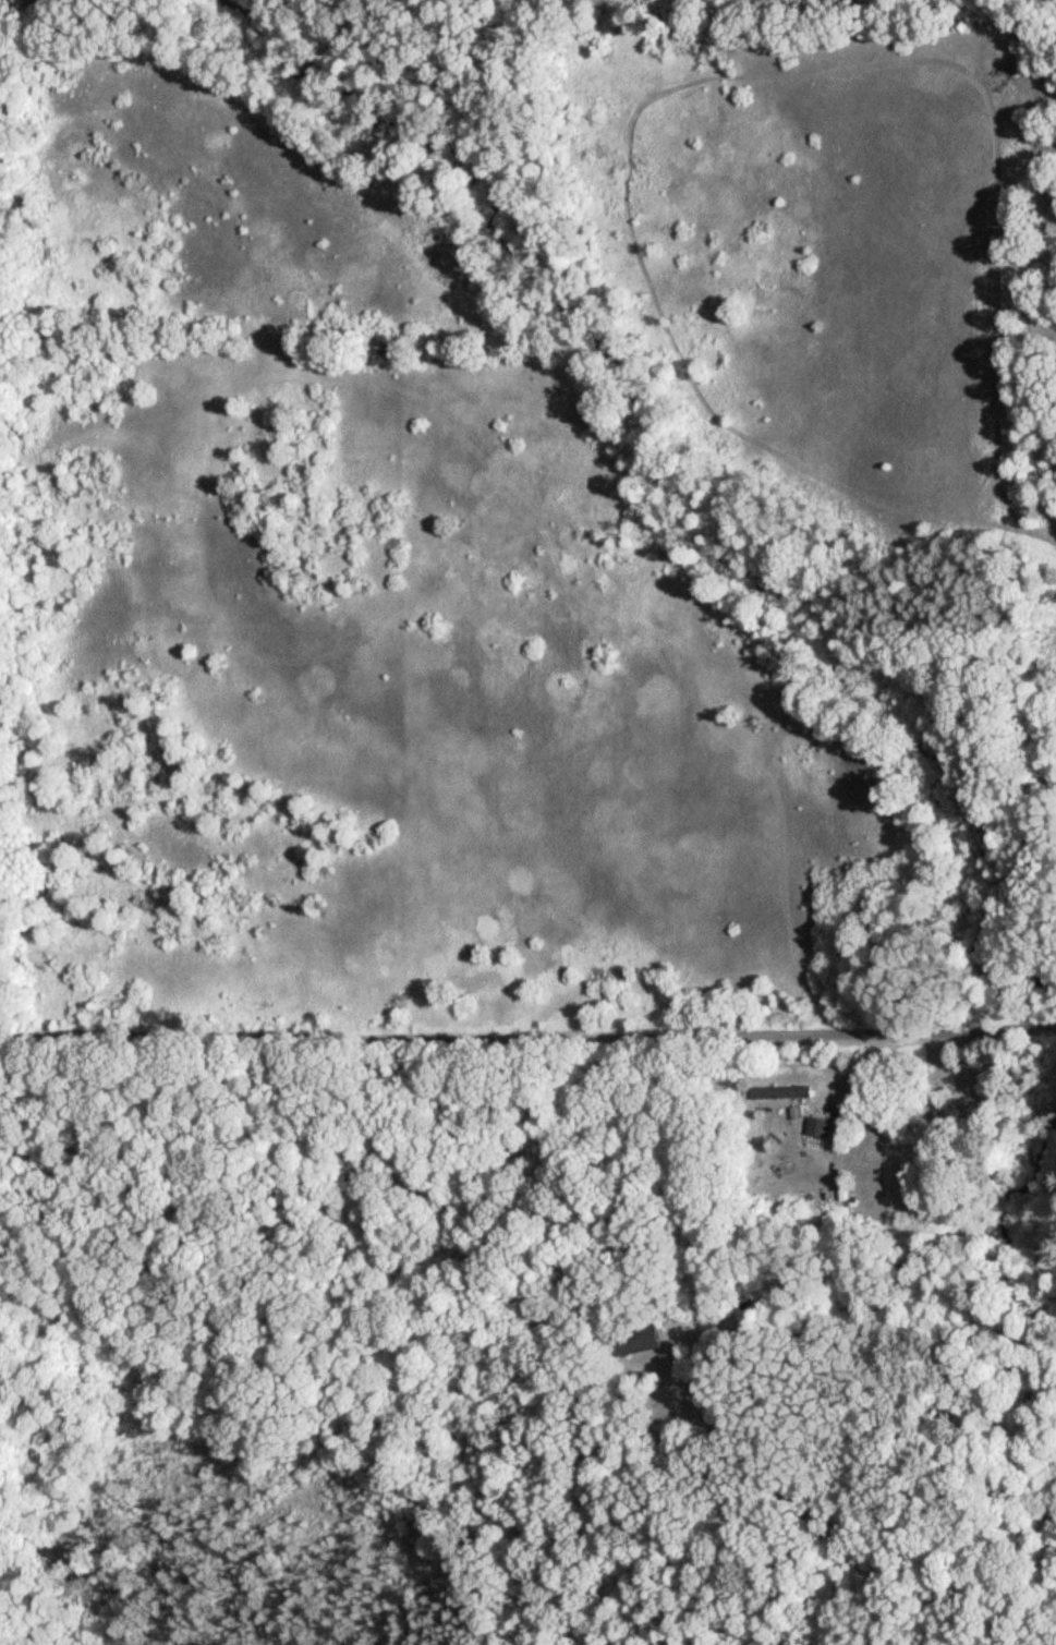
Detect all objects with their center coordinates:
road: (702, 76)
road: (1042, 537)
road: (527, 1032)
building: (784, 1096)
building: (986, 1098)
building: (820, 1129)
building: (636, 1342)

